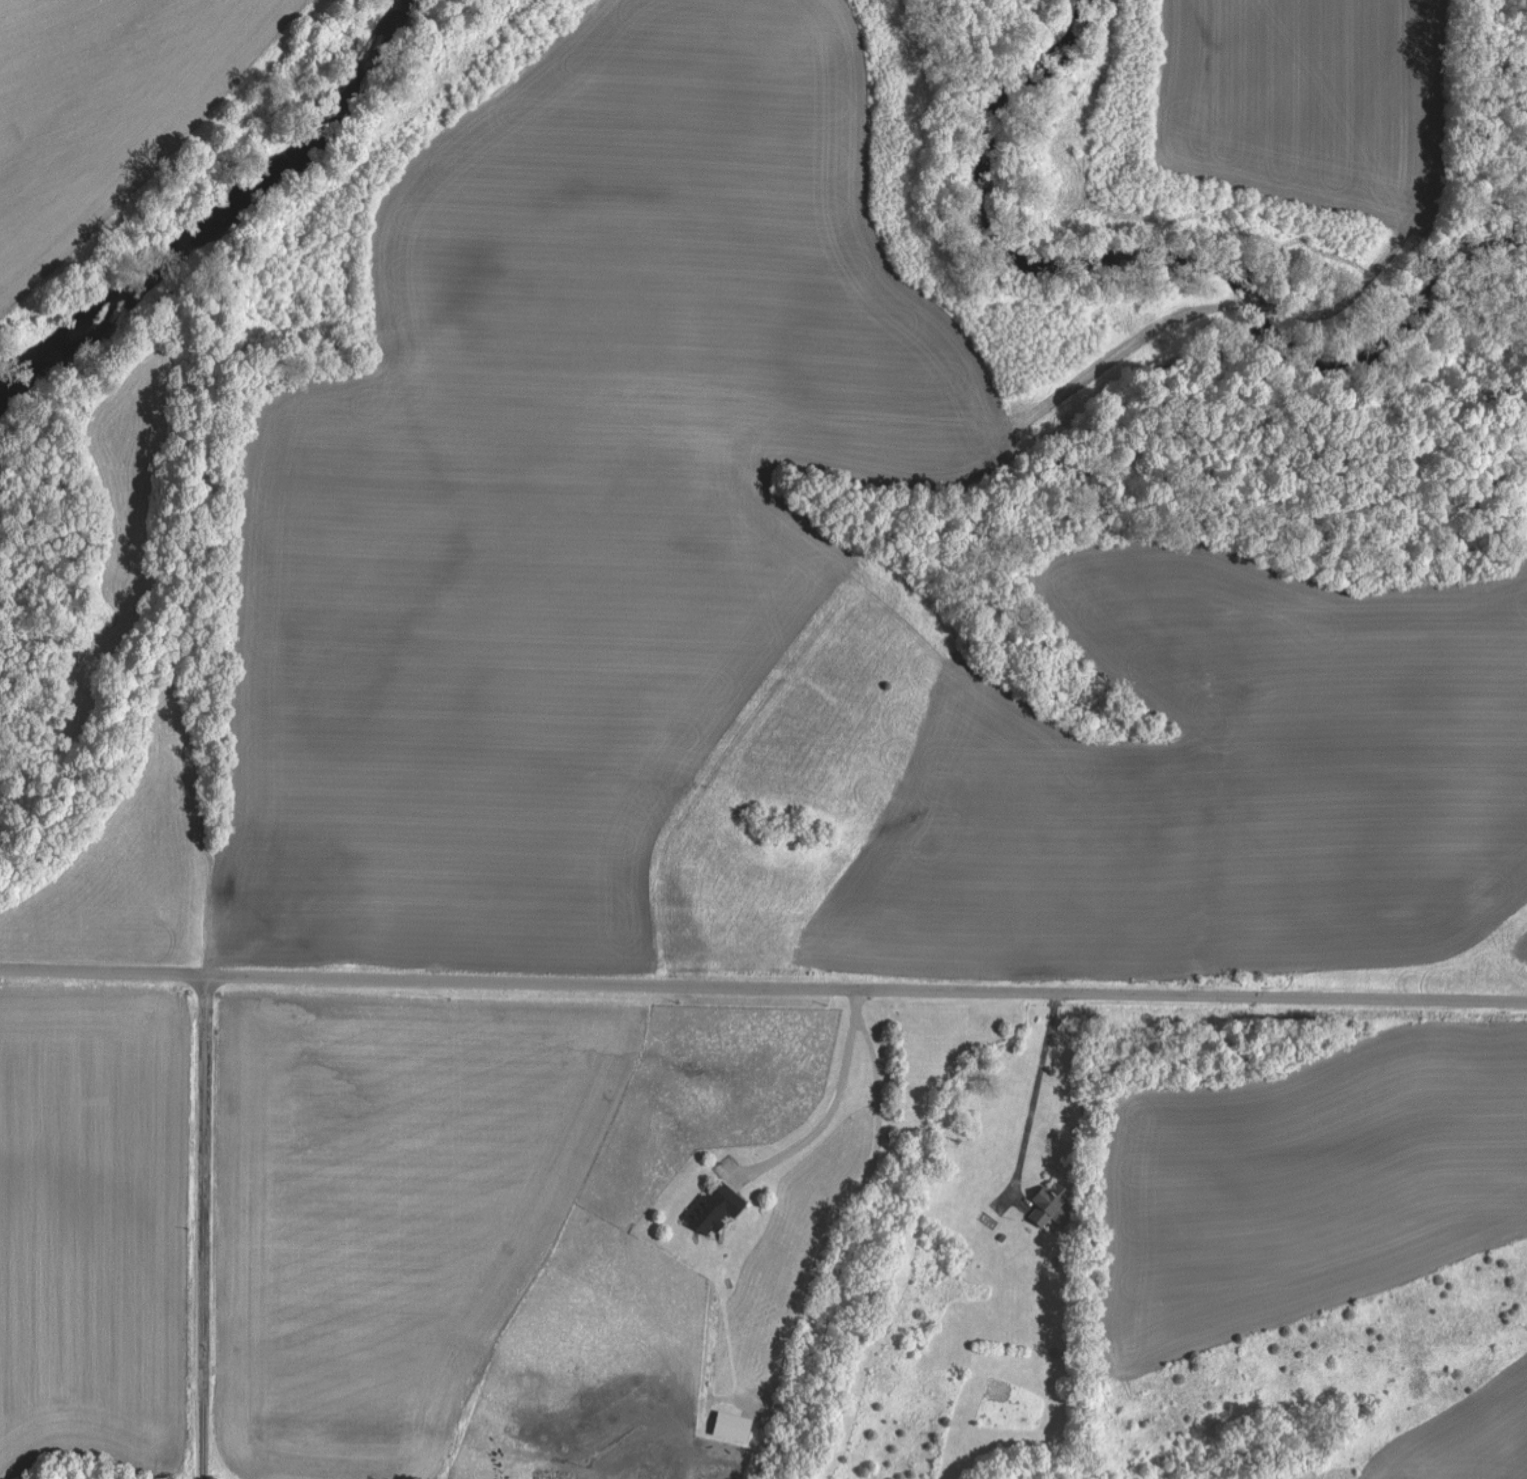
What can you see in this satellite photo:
road: (103, 972)
road: (866, 987)
road: (829, 1109)
road: (846, 1198)
building: (717, 1207)
road: (202, 1228)
building: (735, 1425)

